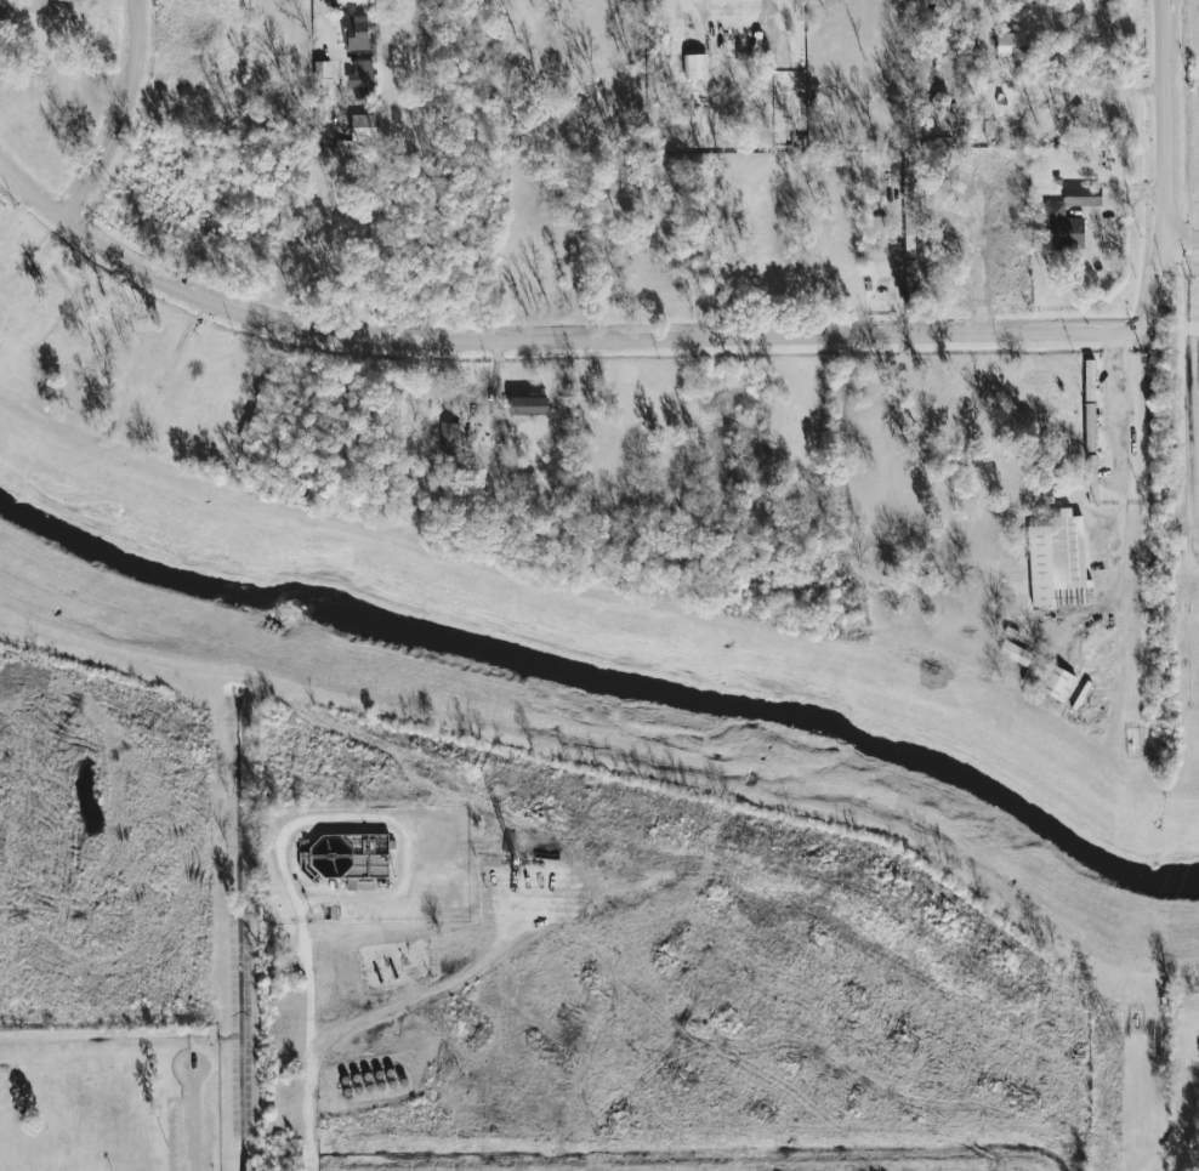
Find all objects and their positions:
building: (357, 32)
building: (1010, 46)
building: (695, 66)
building: (363, 78)
road: (120, 115)
road: (1165, 119)
building: (363, 127)
building: (1082, 195)
building: (1005, 222)
building: (1063, 228)
road: (1183, 238)
road: (978, 265)
road: (898, 285)
road: (593, 340)
building: (1089, 380)
road: (1181, 399)
building: (528, 407)
building: (1090, 427)
building: (449, 431)
road: (1119, 459)
building: (1056, 556)
building: (1015, 652)
building: (1034, 670)
river: (614, 680)
building: (1056, 682)
road: (448, 796)
road: (388, 818)
road: (319, 1034)
power tower: (1113, 1039)
park: (109, 1099)
road: (191, 1118)
park: (56, 1164)

